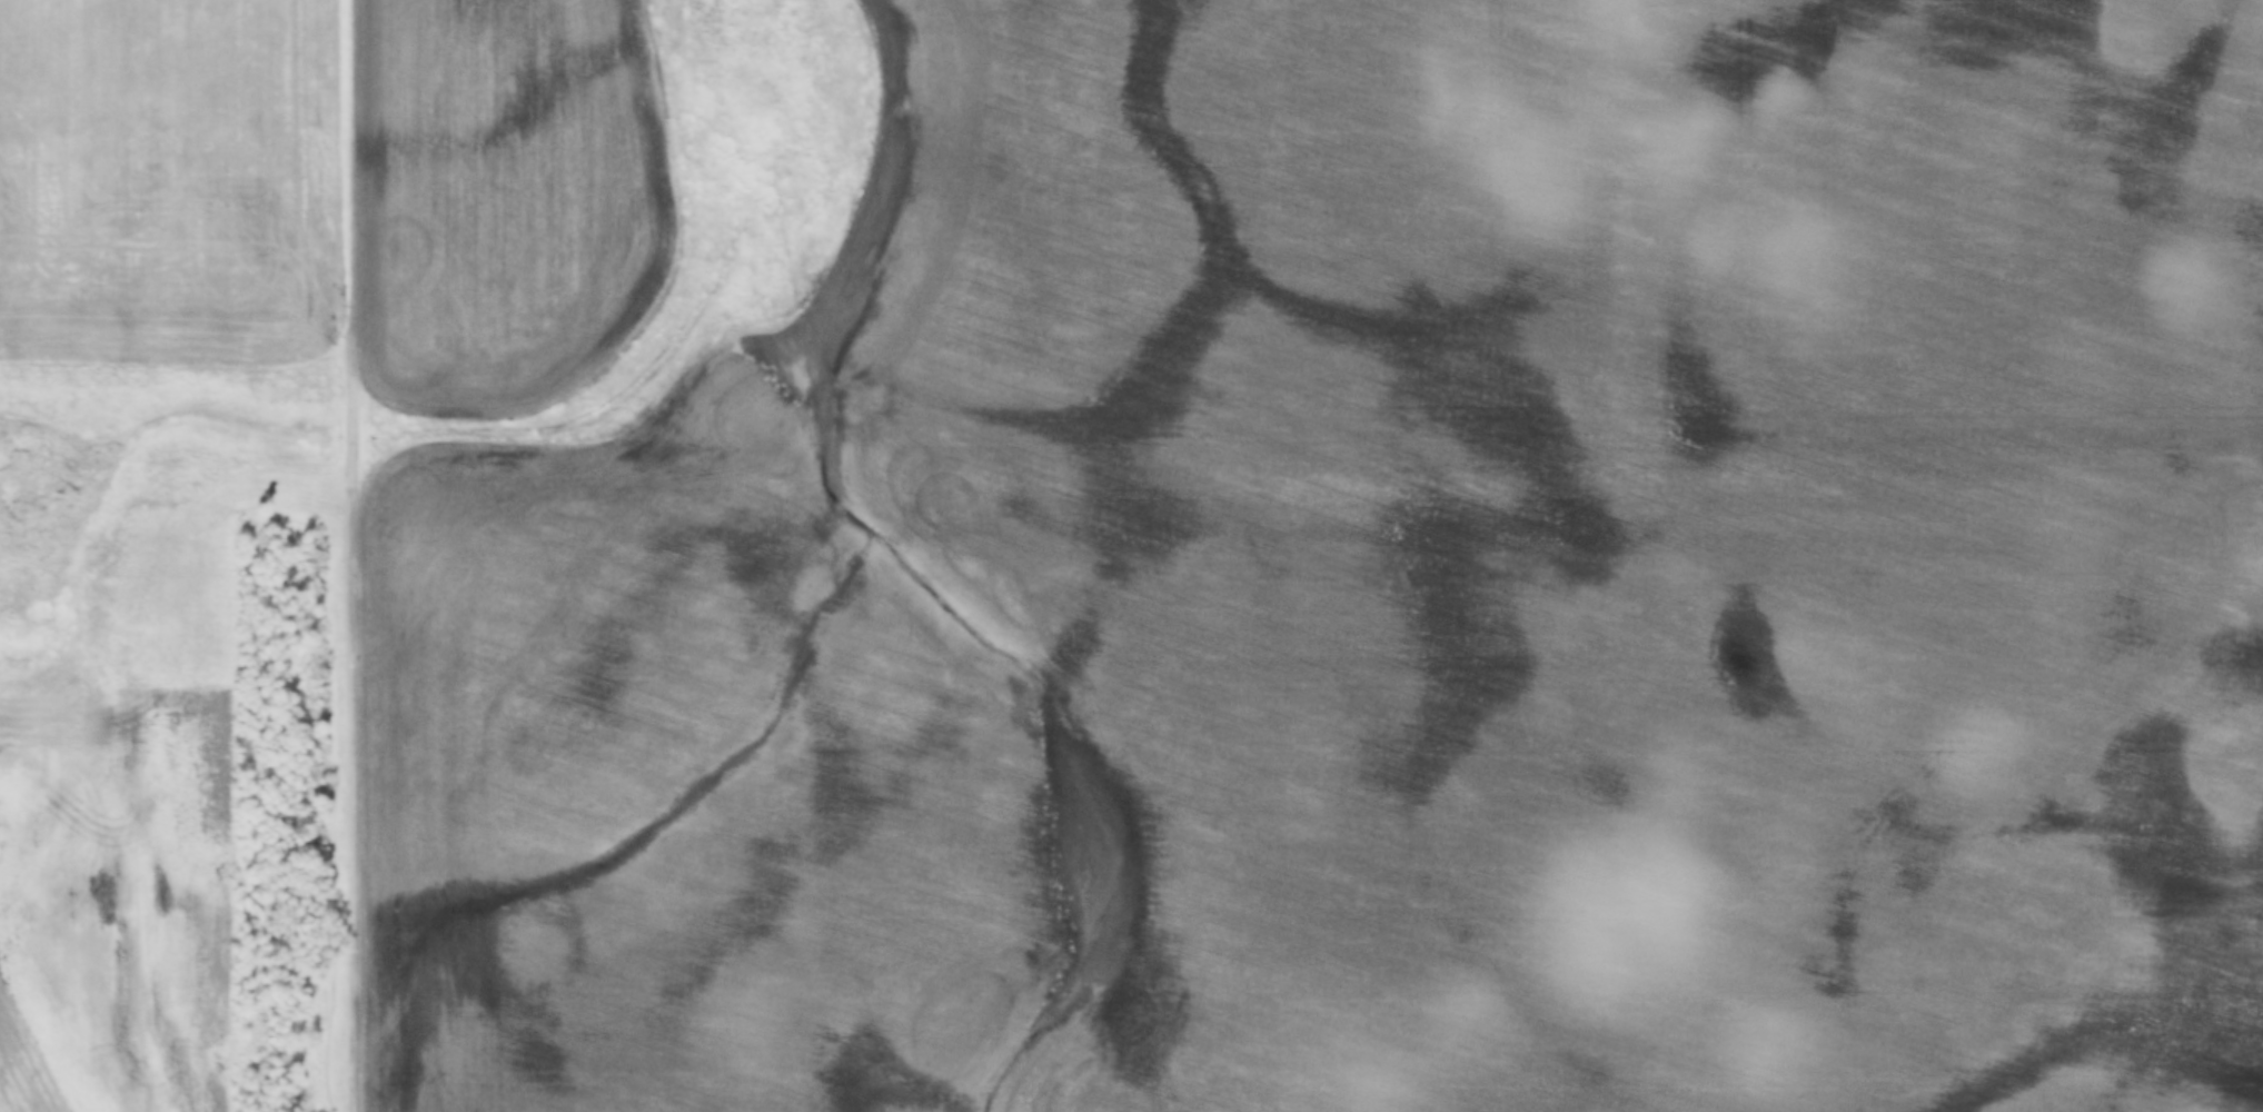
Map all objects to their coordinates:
road: (348, 205)
road: (178, 391)
road: (357, 759)

